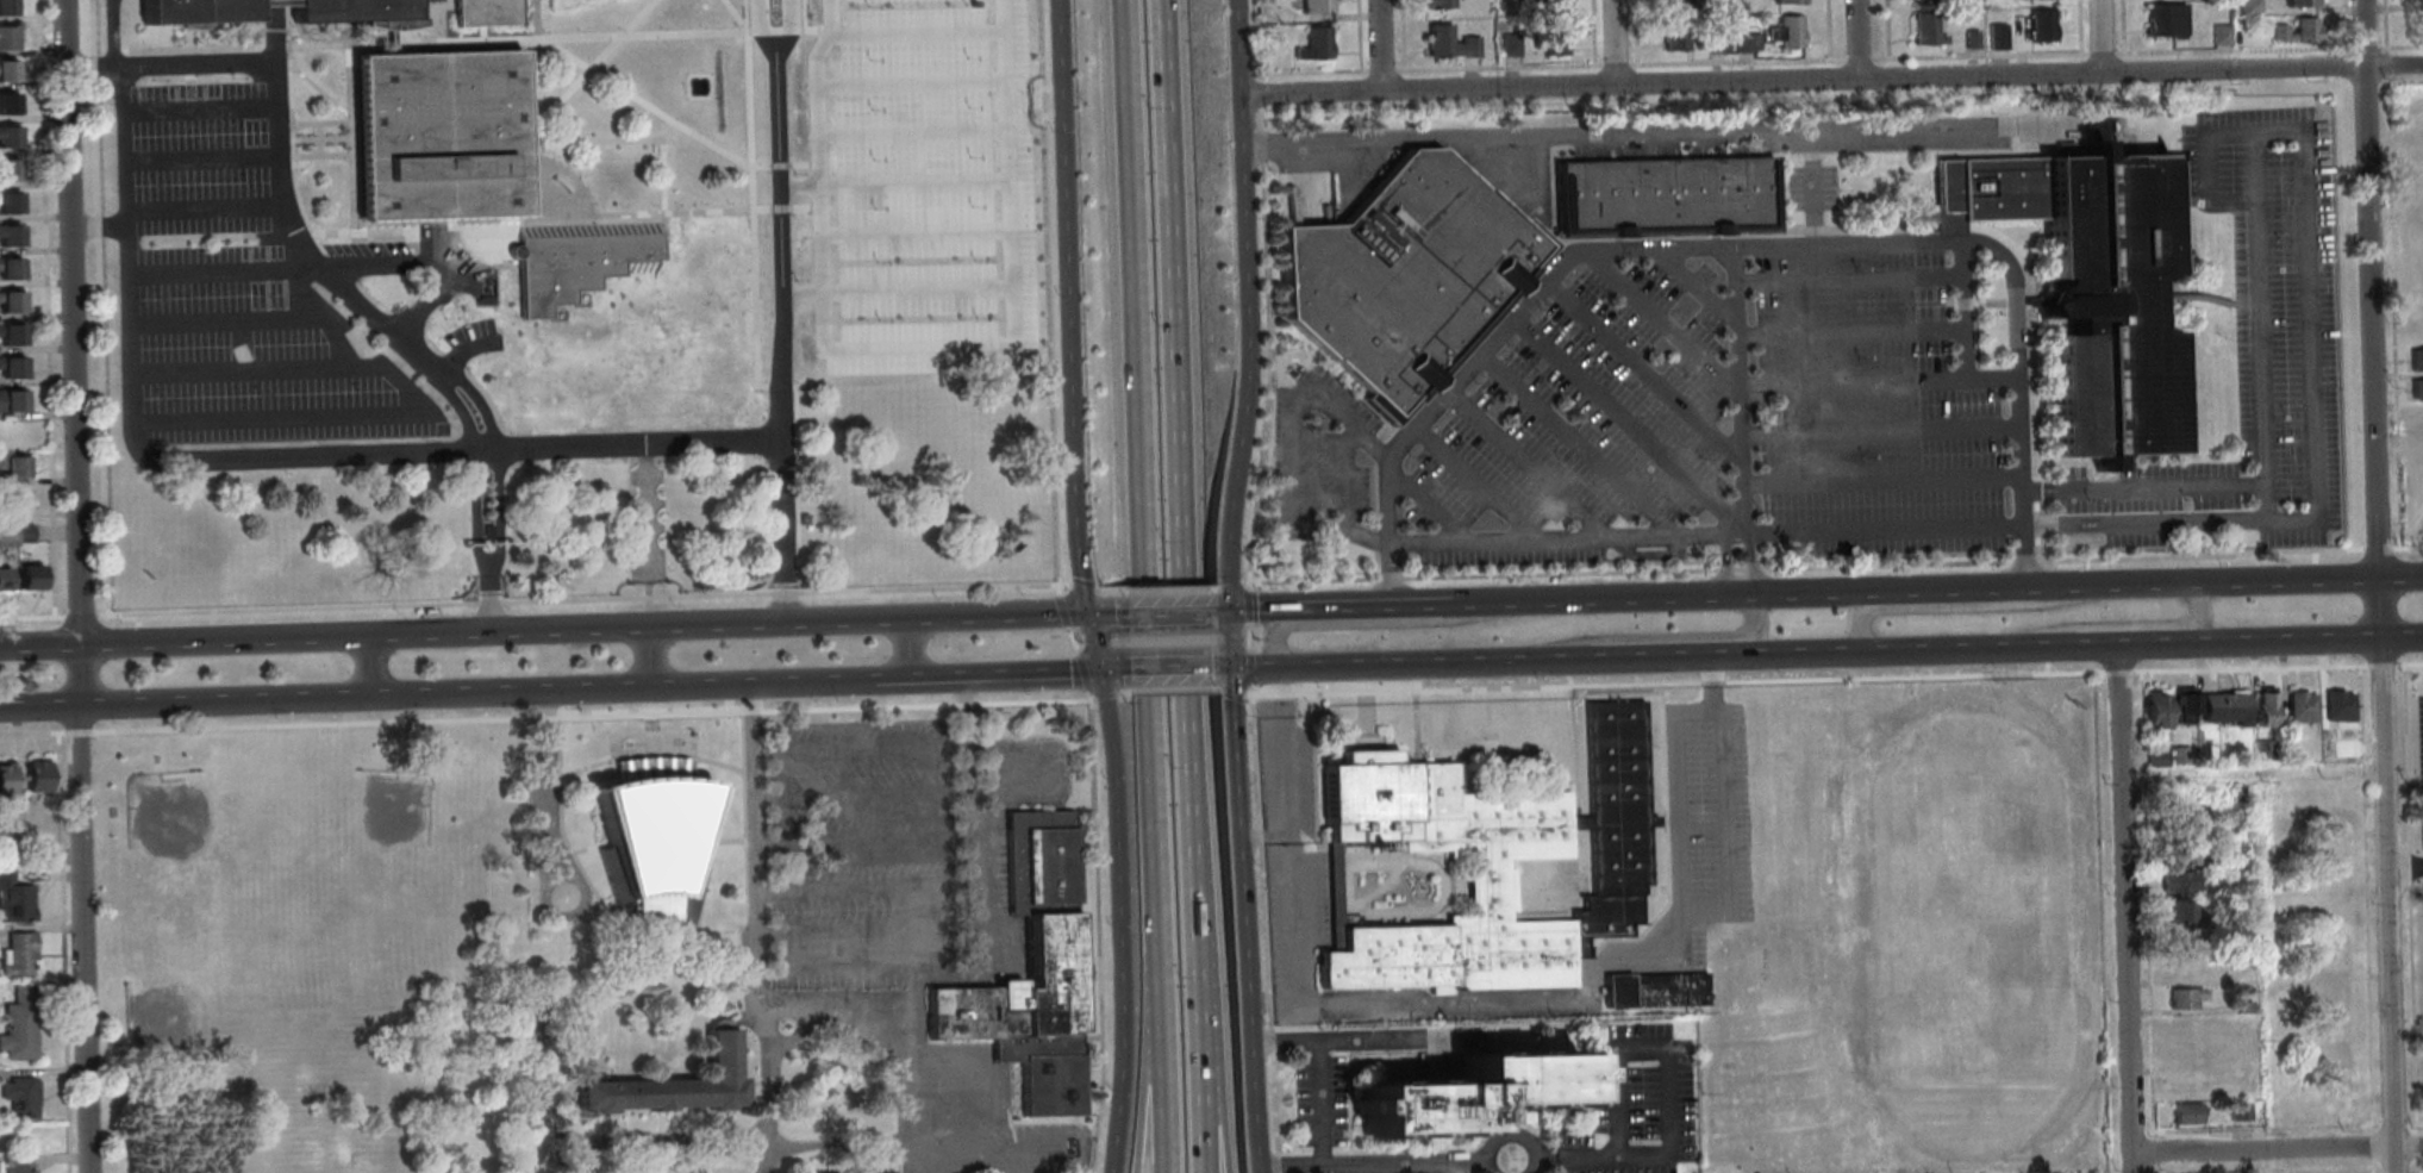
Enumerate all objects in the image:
building: (1924, 0)
building: (2412, 0)
building: (1787, 1)
building: (273, 2)
building: (1672, 2)
building: (2299, 2)
road: (273, 4)
building: (1435, 4)
building: (1312, 6)
building: (5, 7)
building: (1550, 7)
building: (2247, 7)
building: (198, 12)
building: (360, 13)
building: (487, 13)
building: (2163, 19)
road: (2340, 24)
building: (2040, 26)
road: (2077, 26)
road: (2119, 26)
road: (2383, 26)
road: (754, 27)
road: (1825, 29)
road: (1885, 29)
building: (1923, 30)
road: (1590, 32)
road: (1634, 32)
building: (1675, 32)
building: (1785, 32)
building: (2296, 32)
road: (1355, 35)
road: (1400, 35)
building: (2218, 35)
road: (2099, 36)
building: (5, 37)
building: (1996, 37)
road: (1247, 39)
building: (1548, 39)
road: (1856, 39)
building: (1969, 39)
road: (1612, 42)
building: (392, 43)
building: (1445, 43)
building: (1746, 43)
building: (1310, 44)
road: (1379, 44)
building: (1715, 44)
building: (1509, 45)
road: (2399, 46)
road: (2361, 48)
road: (2229, 49)
road: (2099, 52)
road: (1978, 55)
road: (1856, 58)
road: (1735, 61)
road: (95, 64)
road: (1613, 64)
road: (2385, 64)
road: (1495, 67)
road: (127, 69)
building: (6, 70)
road: (1306, 70)
road: (1379, 70)
road: (1828, 80)
road: (2400, 81)
road: (813, 92)
road: (1251, 94)
road: (1030, 101)
building: (6, 104)
road: (201, 108)
building: (439, 136)
road: (1654, 136)
building: (7, 137)
parking lot: (199, 160)
road: (202, 160)
road: (2254, 166)
road: (2202, 167)
building: (7, 170)
parking lot: (913, 185)
road: (795, 187)
building: (1661, 196)
building: (7, 202)
road: (204, 202)
road: (288, 226)
building: (8, 236)
road: (1737, 249)
building: (577, 261)
road: (381, 263)
building: (8, 269)
road: (210, 270)
parking lot: (225, 277)
building: (1395, 280)
road: (1847, 280)
building: (2084, 285)
road: (1696, 286)
road: (2369, 288)
road: (798, 293)
road: (427, 300)
building: (8, 302)
road: (1239, 306)
road: (1060, 307)
road: (779, 310)
road: (2390, 311)
road: (45, 314)
road: (98, 314)
road: (221, 318)
road: (1665, 318)
road: (70, 322)
road: (2311, 329)
road: (1848, 331)
building: (10, 335)
road: (1963, 336)
road: (1005, 342)
road: (2257, 343)
road: (1261, 350)
building: (2415, 361)
building: (10, 368)
road: (1637, 368)
road: (236, 370)
parking lot: (1879, 372)
road: (1849, 379)
building: (2416, 389)
road: (1735, 392)
building: (10, 400)
road: (481, 404)
road: (461, 413)
road: (267, 418)
road: (1622, 424)
road: (1878, 430)
road: (1570, 444)
road: (441, 449)
road: (1284, 455)
road: (1520, 462)
building: (12, 467)
road: (1336, 475)
road: (1879, 480)
road: (1466, 482)
road: (2141, 489)
road: (1416, 498)
building: (13, 500)
road: (1139, 506)
road: (500, 508)
road: (474, 511)
building: (803, 520)
road: (1837, 531)
building: (21, 532)
building: (488, 532)
road: (644, 535)
building: (6, 536)
road: (2405, 547)
road: (2375, 549)
road: (1797, 564)
road: (1719, 566)
road: (1746, 566)
road: (2399, 576)
building: (27, 578)
building: (2, 579)
road: (2225, 582)
road: (1219, 585)
road: (1186, 586)
road: (1206, 588)
road: (1973, 589)
road: (1153, 591)
road: (1700, 597)
road: (599, 598)
road: (493, 604)
road: (1495, 605)
road: (1237, 606)
road: (1369, 607)
road: (1249, 611)
road: (1160, 612)
road: (1211, 612)
traffic signals: (1220, 612)
traffic signals: (1085, 613)
road: (1101, 613)
road: (79, 618)
road: (31, 619)
road: (1854, 622)
road: (754, 624)
road: (2171, 625)
road: (1753, 628)
road: (399, 636)
road: (1263, 637)
road: (2400, 638)
road: (225, 641)
road: (1092, 643)
road: (38, 645)
road: (2057, 647)
road: (923, 648)
road: (648, 657)
road: (1629, 659)
road: (2406, 663)
road: (1370, 666)
road: (375, 667)
road: (2244, 668)
road: (1212, 669)
traffic signals: (1222, 669)
road: (1161, 670)
road: (1110, 672)
traffic signals: (1099, 673)
road: (98, 674)
road: (64, 675)
road: (77, 675)
road: (983, 675)
road: (830, 680)
road: (583, 690)
road: (226, 701)
building: (2180, 705)
road: (38, 706)
building: (2335, 706)
building: (2297, 707)
building: (2222, 709)
building: (2150, 711)
building: (2261, 711)
road: (587, 717)
road: (96, 726)
road: (31, 732)
road: (76, 732)
road: (853, 748)
building: (2259, 750)
road: (2402, 750)
building: (2283, 751)
building: (2175, 755)
building: (2152, 759)
building: (35, 776)
building: (6, 780)
road: (551, 785)
road: (1667, 792)
building: (2234, 793)
road: (964, 794)
road: (855, 797)
parking lot: (2419, 811)
park: (383, 815)
road: (1717, 815)
building: (2179, 815)
park: (168, 816)
parking lot: (1696, 824)
road: (1254, 834)
road: (1280, 834)
building: (649, 841)
building: (2175, 855)
building: (10, 856)
building: (37, 856)
building: (2234, 862)
building: (1480, 863)
road: (2405, 866)
road: (2403, 869)
road: (2385, 874)
building: (2173, 881)
road: (1231, 892)
road: (2362, 894)
road: (1251, 897)
building: (13, 899)
road: (2141, 900)
road: (2121, 909)
park: (1966, 912)
building: (2175, 913)
road: (1112, 922)
road: (750, 924)
road: (1087, 936)
road: (82, 938)
road: (60, 947)
building: (2184, 953)
building: (15, 955)
road: (1612, 955)
building: (1018, 973)
building: (1645, 991)
building: (2179, 999)
road: (1406, 1000)
building: (2238, 1007)
road: (2409, 1009)
park: (174, 1012)
building: (512, 1015)
building: (18, 1024)
road: (1353, 1038)
building: (669, 1084)
road: (1661, 1090)
building: (1455, 1091)
road: (1144, 1092)
road: (1155, 1092)
building: (19, 1098)
road: (1309, 1103)
parking lot: (1626, 1104)
building: (2236, 1112)
building: (2181, 1113)
road: (2412, 1123)
road: (1217, 1125)
road: (2391, 1125)
road: (899, 1128)
road: (2262, 1129)
road: (1499, 1135)
road: (831, 1141)
road: (2369, 1146)
road: (2413, 1146)
road: (2274, 1148)
road: (2148, 1153)
road: (891, 1156)
road: (2413, 1161)
road: (2413, 1162)
road: (935, 1163)
building: (14, 1165)
road: (1361, 1165)
road: (2368, 1165)
road: (2369, 1165)
road: (2391, 1165)
road: (651, 1167)
road: (668, 1167)
road: (2149, 1169)
road: (2413, 1169)
building: (857, 1172)
road: (2134, 1172)
road: (2144, 1172)
road: (2369, 1172)

